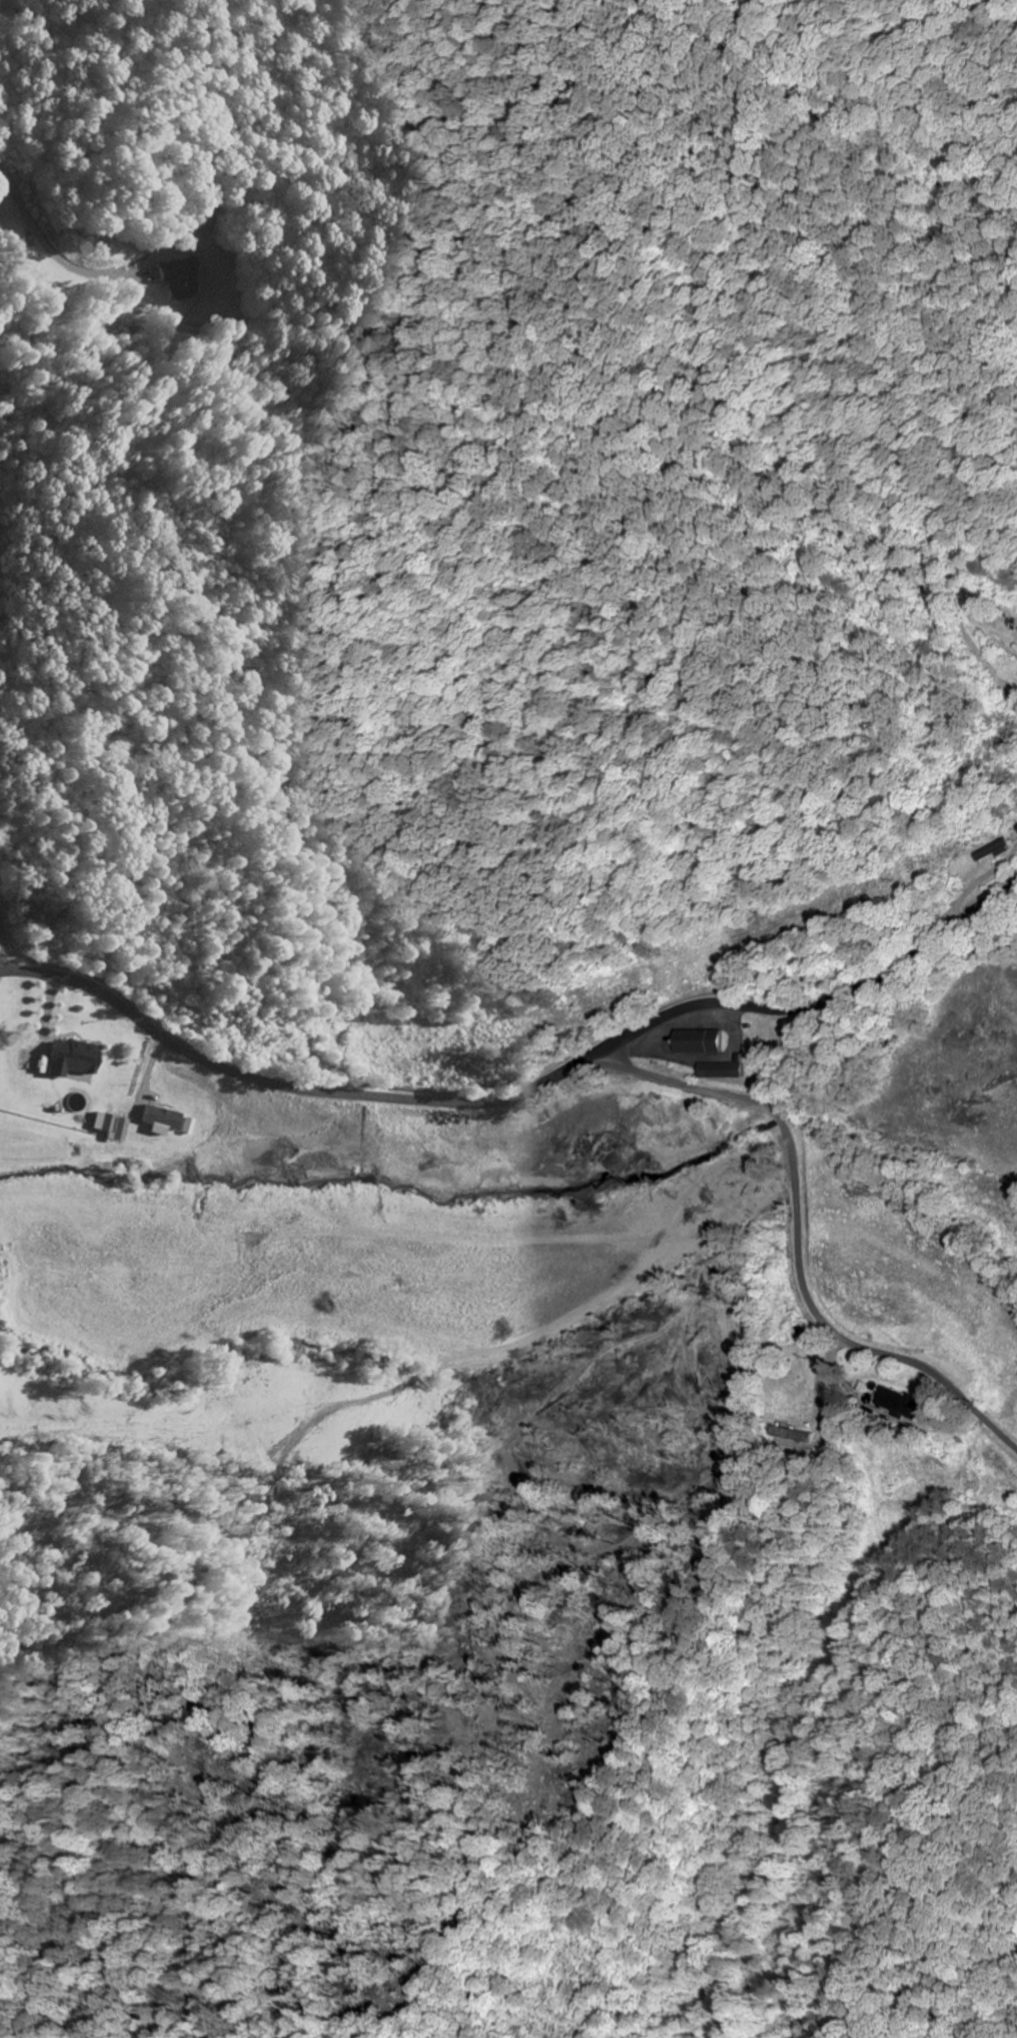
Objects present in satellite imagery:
building: (178, 277)
building: (1000, 849)
road: (4, 948)
road: (3, 971)
building: (702, 1041)
building: (69, 1057)
building: (725, 1070)
road: (523, 1091)
building: (157, 1119)
building: (107, 1124)
road: (798, 1244)
building: (899, 1403)
building: (790, 1434)

